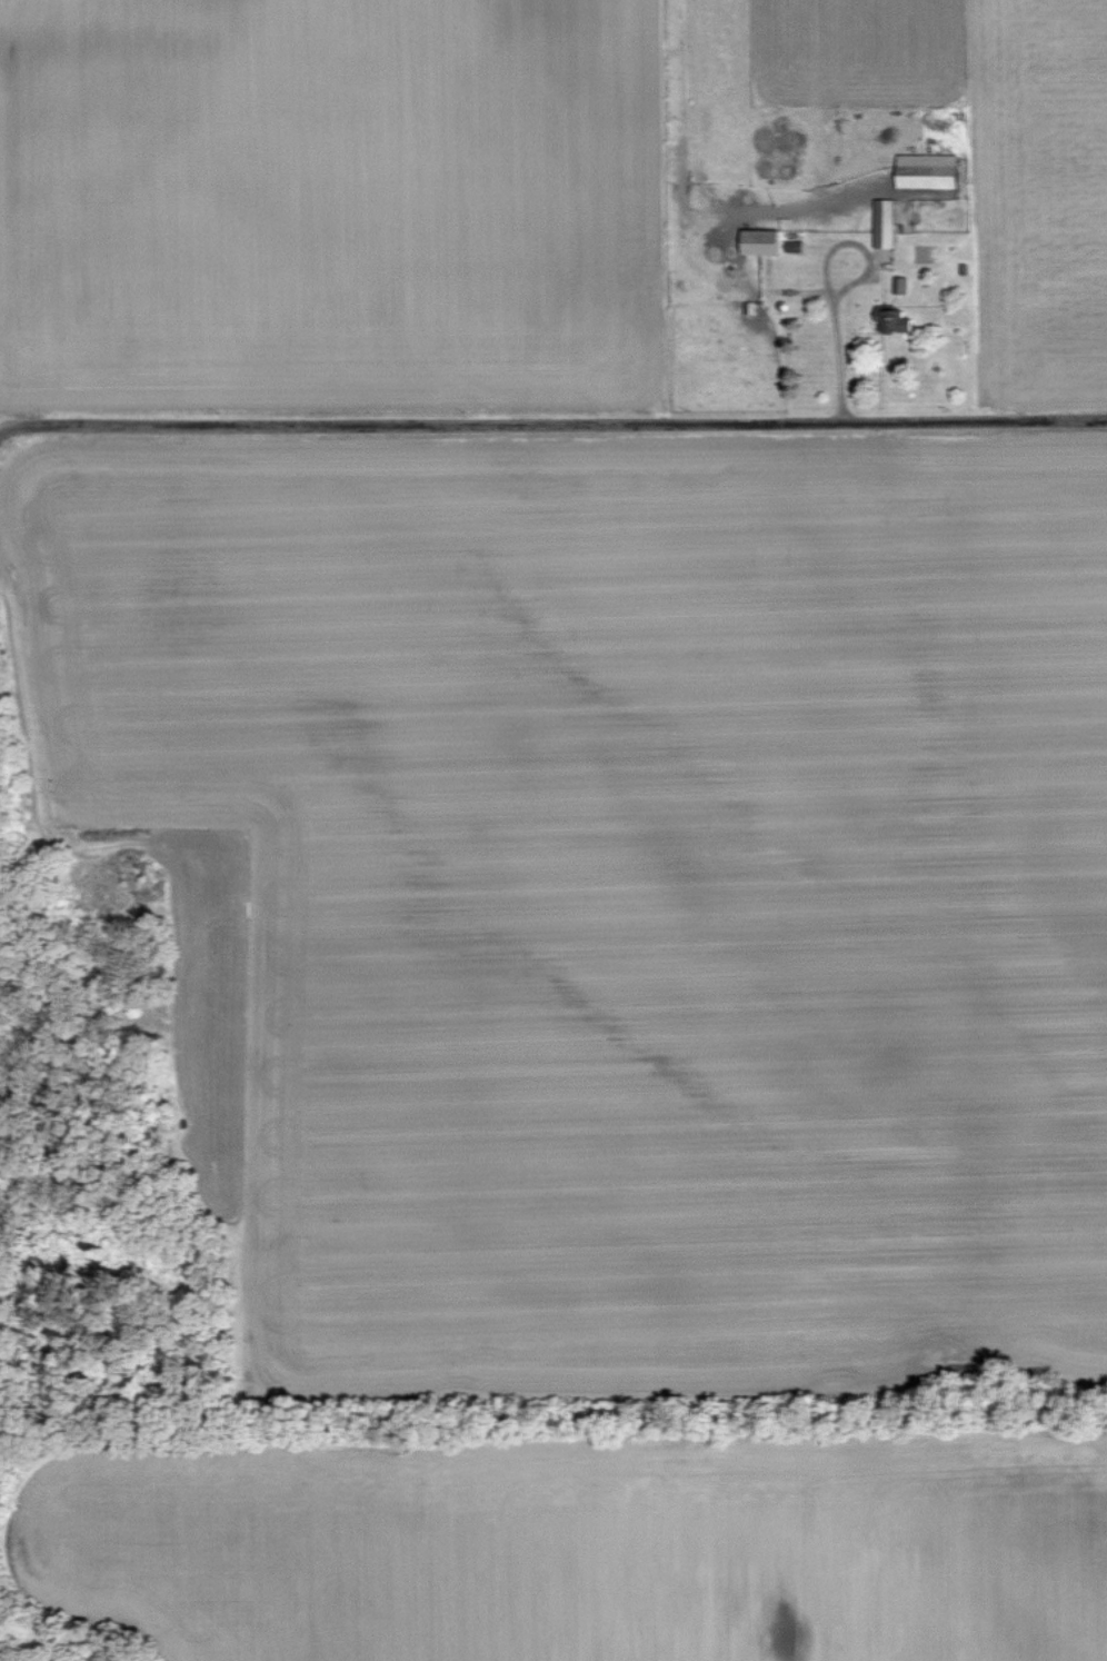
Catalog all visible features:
building: (929, 170)
building: (885, 222)
building: (762, 242)
road: (827, 282)
building: (895, 320)
road: (536, 427)

